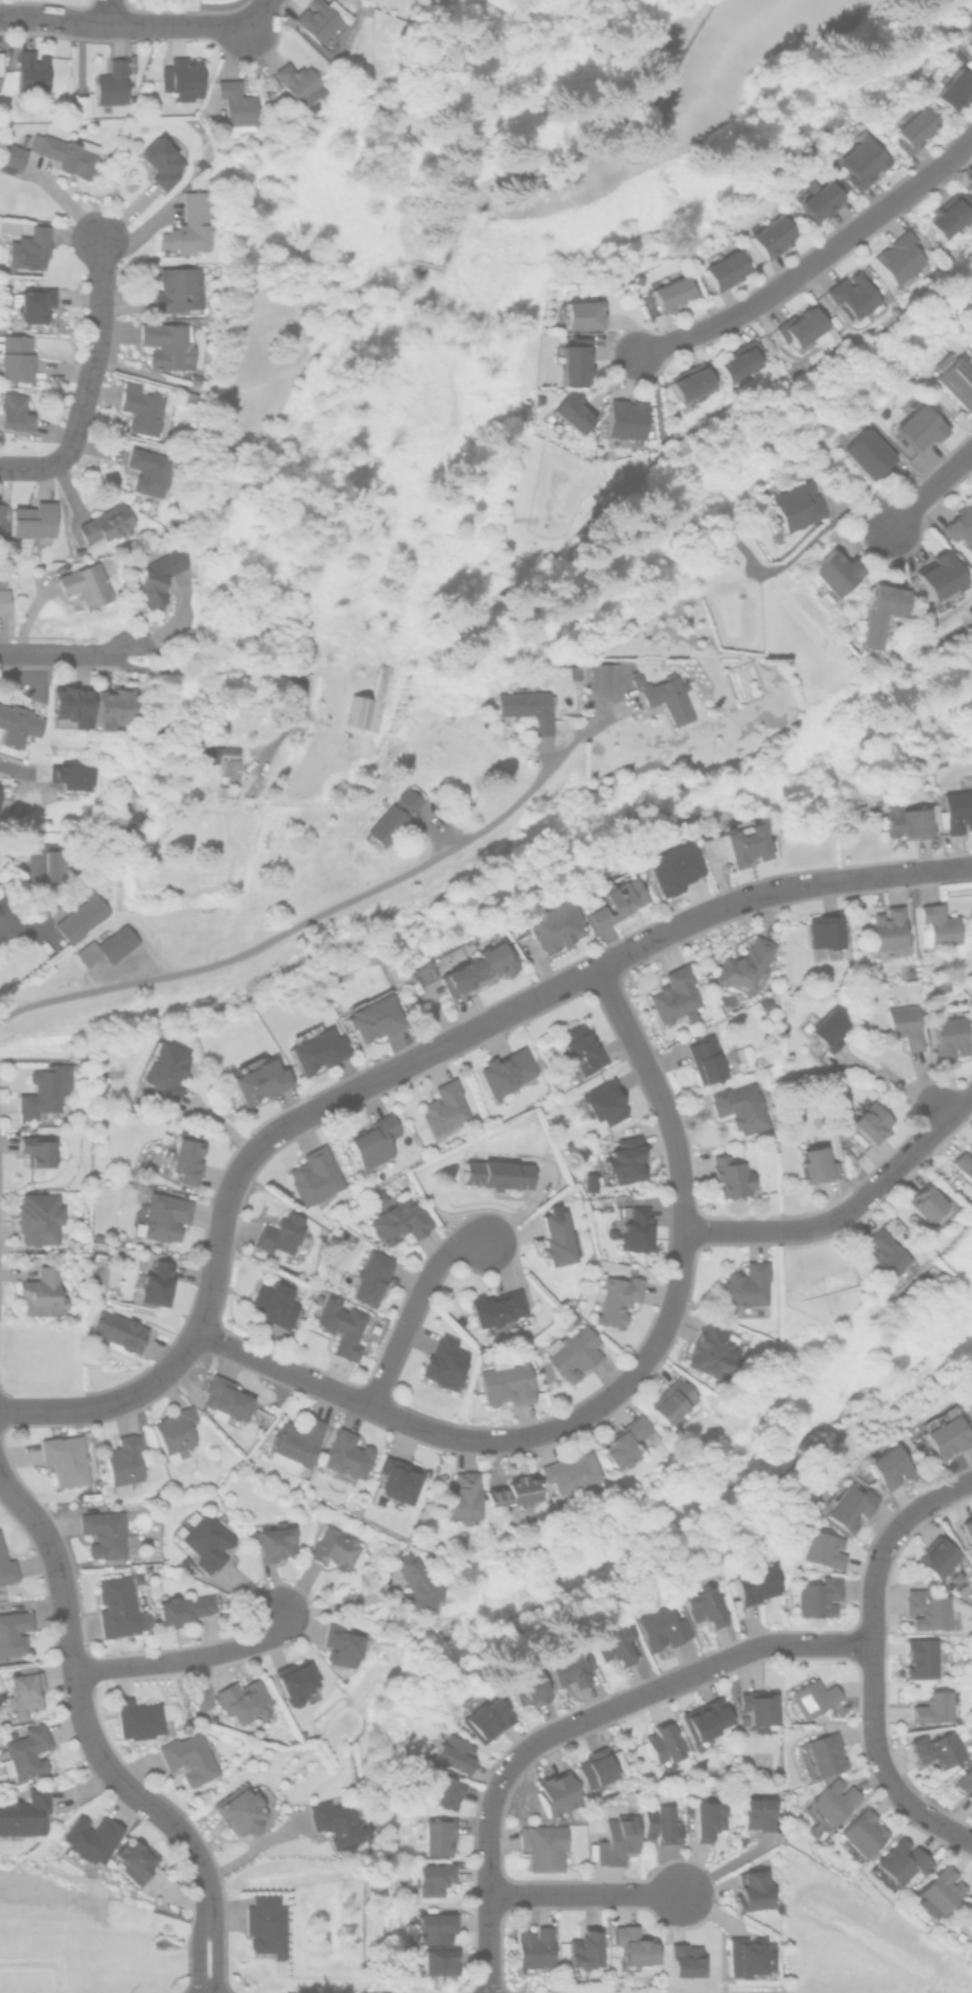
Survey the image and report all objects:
road: (109, 12)
road: (255, 12)
building: (320, 20)
park: (765, 23)
road: (121, 24)
building: (969, 30)
building: (971, 44)
building: (957, 54)
building: (31, 70)
building: (182, 76)
building: (110, 82)
building: (299, 82)
building: (951, 88)
building: (80, 104)
building: (236, 106)
building: (908, 129)
building: (65, 151)
building: (11, 156)
building: (161, 159)
building: (865, 160)
building: (817, 199)
building: (944, 217)
building: (186, 227)
building: (771, 235)
road: (479, 236)
building: (28, 247)
building: (899, 259)
road: (815, 261)
building: (724, 269)
building: (178, 289)
building: (669, 291)
building: (855, 294)
building: (32, 303)
building: (580, 313)
building: (800, 327)
building: (970, 332)
building: (166, 344)
road: (95, 347)
building: (15, 357)
building: (573, 359)
building: (739, 360)
building: (194, 378)
road: (151, 380)
building: (691, 380)
building: (953, 380)
building: (188, 396)
building: (140, 407)
building: (14, 411)
building: (573, 411)
park: (308, 413)
building: (628, 420)
building: (914, 426)
building: (867, 452)
road: (35, 467)
building: (148, 471)
road: (929, 487)
building: (798, 505)
building: (33, 519)
building: (2, 520)
building: (106, 523)
building: (958, 525)
building: (835, 573)
building: (154, 578)
building: (937, 579)
building: (85, 584)
building: (3, 599)
building: (882, 611)
road: (65, 654)
building: (899, 656)
road: (249, 670)
building: (603, 675)
building: (636, 677)
building: (669, 699)
building: (71, 706)
building: (115, 707)
building: (529, 708)
building: (359, 710)
building: (17, 725)
building: (212, 750)
building: (936, 758)
building: (230, 767)
road: (6, 768)
building: (71, 773)
building: (225, 790)
building: (955, 806)
building: (395, 813)
building: (904, 819)
building: (748, 841)
building: (47, 863)
building: (673, 869)
road: (843, 879)
building: (619, 897)
building: (81, 916)
road: (308, 921)
road: (689, 921)
building: (556, 924)
building: (936, 924)
building: (826, 929)
building: (886, 931)
road: (17, 932)
building: (107, 945)
building: (747, 964)
building: (480, 965)
building: (935, 985)
building: (676, 996)
building: (766, 1002)
building: (374, 1017)
building: (906, 1023)
building: (831, 1026)
building: (946, 1036)
building: (315, 1046)
building: (582, 1046)
building: (740, 1051)
building: (76, 1056)
building: (707, 1057)
building: (759, 1059)
building: (164, 1068)
building: (506, 1070)
building: (257, 1077)
road: (899, 1087)
building: (44, 1090)
road: (334, 1099)
building: (605, 1100)
building: (743, 1105)
building: (445, 1109)
building: (870, 1117)
building: (375, 1141)
building: (37, 1149)
building: (582, 1153)
building: (184, 1156)
building: (627, 1158)
building: (817, 1163)
building: (962, 1163)
building: (498, 1172)
building: (315, 1174)
building: (734, 1176)
building: (590, 1180)
building: (931, 1205)
road: (849, 1212)
building: (160, 1215)
building: (397, 1215)
building: (37, 1217)
building: (638, 1229)
building: (610, 1233)
building: (282, 1234)
building: (557, 1235)
building: (888, 1256)
building: (369, 1277)
building: (151, 1284)
building: (747, 1289)
building: (42, 1292)
building: (618, 1298)
building: (276, 1301)
road: (414, 1309)
building: (498, 1311)
building: (342, 1326)
building: (117, 1332)
building: (715, 1350)
building: (573, 1351)
building: (446, 1362)
building: (507, 1381)
road: (621, 1388)
building: (224, 1400)
building: (674, 1402)
road: (77, 1409)
building: (947, 1432)
building: (175, 1433)
building: (627, 1440)
building: (294, 1442)
building: (347, 1456)
building: (65, 1459)
building: (124, 1462)
building: (888, 1464)
building: (572, 1471)
building: (925, 1472)
building: (396, 1481)
building: (463, 1496)
building: (516, 1497)
building: (848, 1505)
building: (969, 1526)
building: (109, 1533)
building: (204, 1539)
building: (275, 1541)
building: (336, 1548)
building: (824, 1548)
building: (937, 1556)
building: (6, 1568)
building: (410, 1583)
building: (757, 1583)
building: (819, 1596)
road: (337, 1603)
building: (119, 1607)
building: (182, 1607)
building: (706, 1607)
building: (929, 1608)
building: (663, 1627)
building: (13, 1632)
building: (617, 1641)
building: (343, 1644)
building: (925, 1656)
road: (183, 1658)
road: (872, 1660)
building: (571, 1668)
building: (296, 1681)
building: (531, 1688)
building: (22, 1691)
building: (811, 1698)
building: (245, 1701)
building: (938, 1707)
building: (760, 1708)
building: (486, 1718)
building: (137, 1719)
building: (706, 1721)
road: (576, 1723)
building: (664, 1745)
road: (94, 1747)
building: (939, 1748)
building: (25, 1752)
building: (451, 1752)
building: (821, 1755)
building: (191, 1757)
building: (597, 1770)
building: (965, 1779)
building: (445, 1791)
building: (557, 1793)
building: (970, 1794)
building: (830, 1804)
building: (244, 1811)
building: (758, 1813)
building: (25, 1814)
building: (709, 1819)
building: (662, 1821)
building: (336, 1822)
building: (864, 1834)
building: (439, 1837)
building: (618, 1837)
building: (89, 1843)
road: (254, 1847)
building: (543, 1847)
building: (937, 1852)
building: (133, 1861)
building: (900, 1862)
building: (428, 1879)
building: (753, 1891)
building: (942, 1891)
road: (584, 1894)
building: (969, 1912)
building: (265, 1924)
building: (436, 1928)
building: (632, 1948)
building: (532, 1950)
building: (585, 1951)
building: (751, 1958)
building: (684, 1961)
building: (438, 1963)

